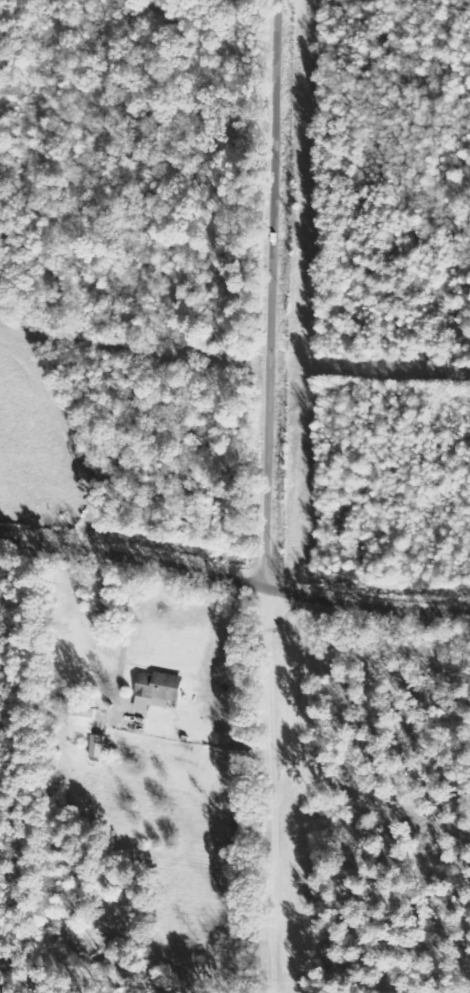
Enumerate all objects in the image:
road: (269, 294)
road: (234, 578)
road: (125, 627)
building: (159, 690)
building: (84, 720)
building: (98, 746)
road: (273, 791)

